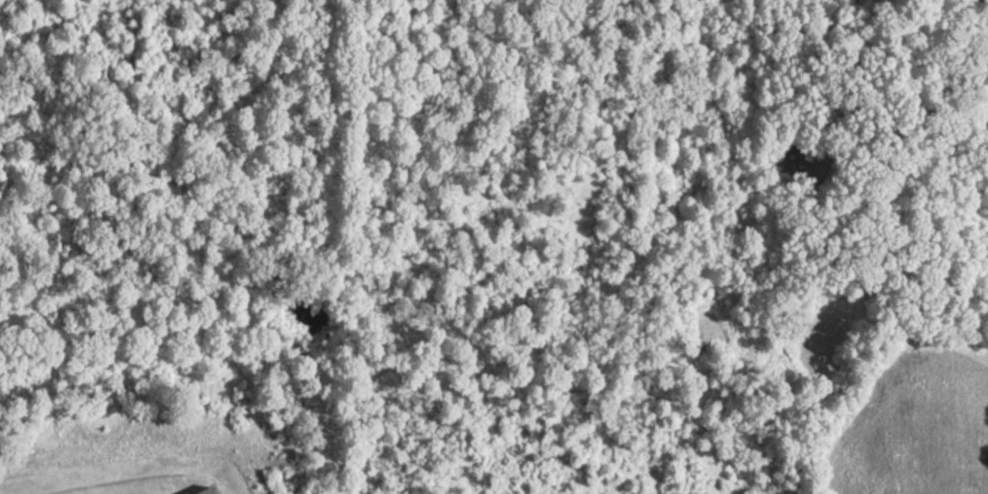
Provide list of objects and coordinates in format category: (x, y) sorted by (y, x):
building: (200, 491)

